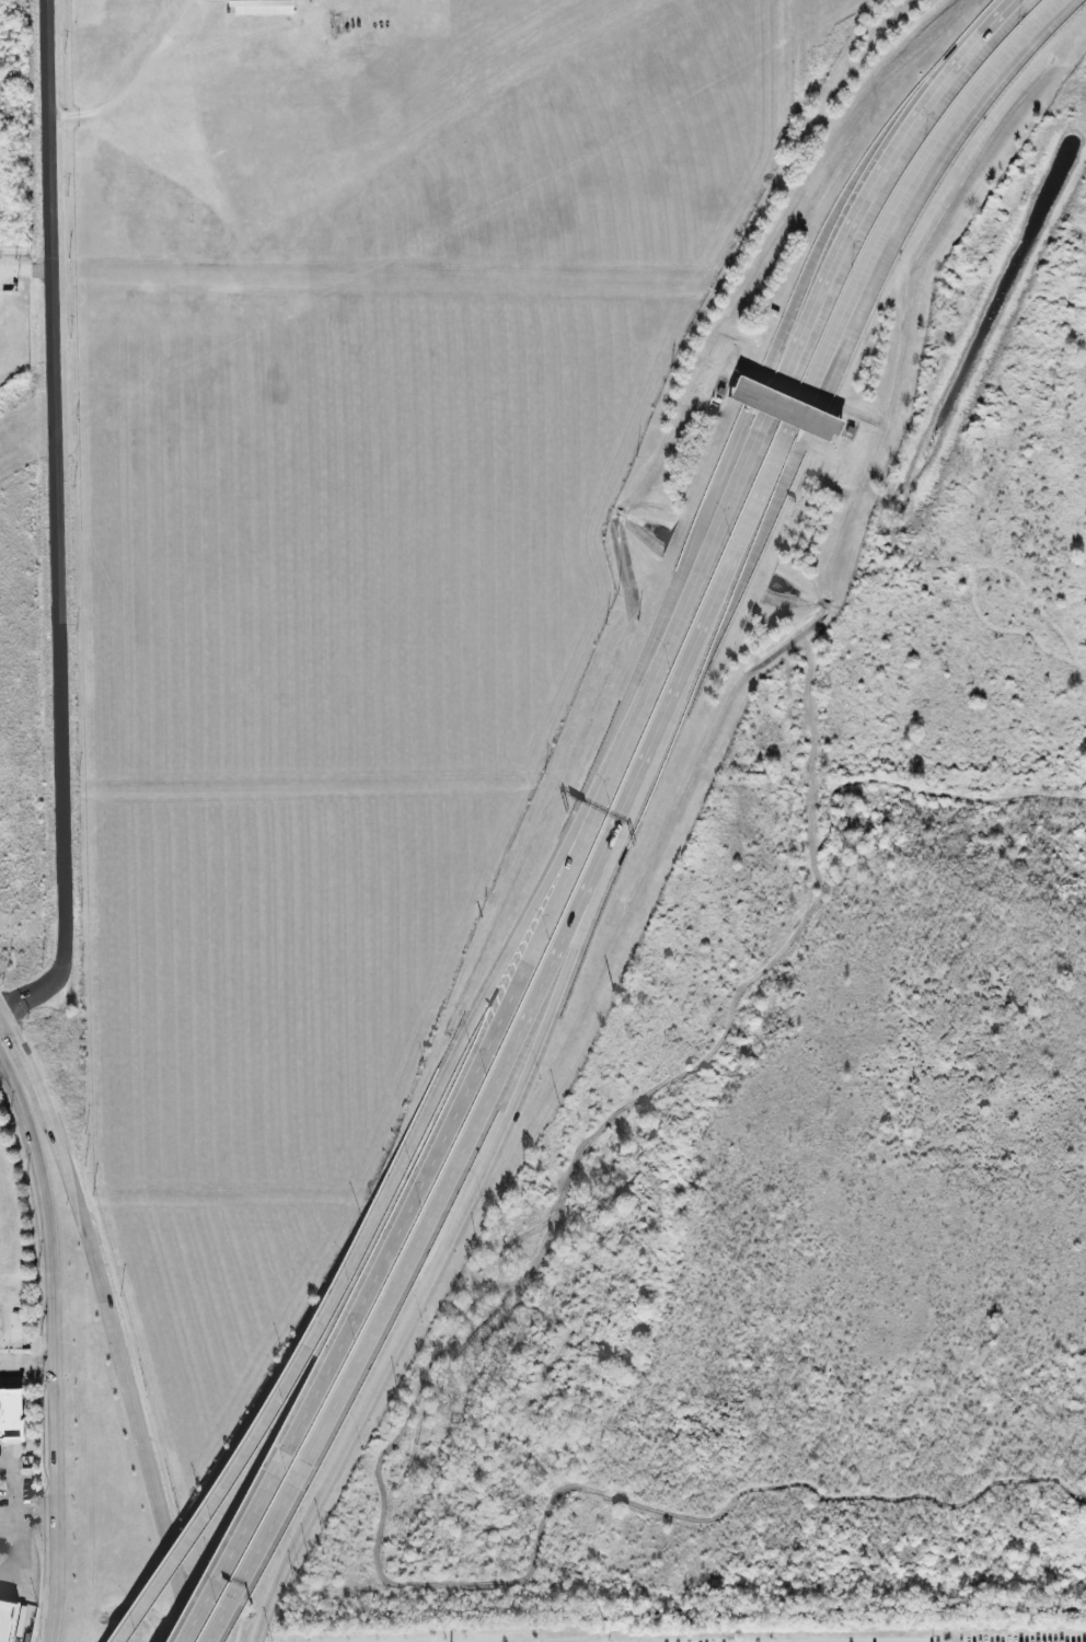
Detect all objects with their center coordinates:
building: (262, 3)
road: (135, 82)
road: (870, 182)
road: (903, 186)
road: (769, 402)
building: (786, 409)
road: (796, 414)
road: (730, 490)
road: (54, 519)
park: (343, 558)
road: (659, 661)
road: (603, 791)
road: (533, 996)
traffic signals: (7, 1026)
road: (9, 1030)
road: (26, 1065)
park: (814, 1095)
road: (400, 1155)
road: (420, 1184)
road: (430, 1269)
road: (0, 1300)
road: (1, 1320)
road: (48, 1351)
road: (116, 1360)
road: (24, 1364)
building: (10, 1411)
road: (9, 1524)
road: (174, 1557)
road: (209, 1586)
road: (232, 1599)
building: (8, 1620)
road: (122, 1634)

